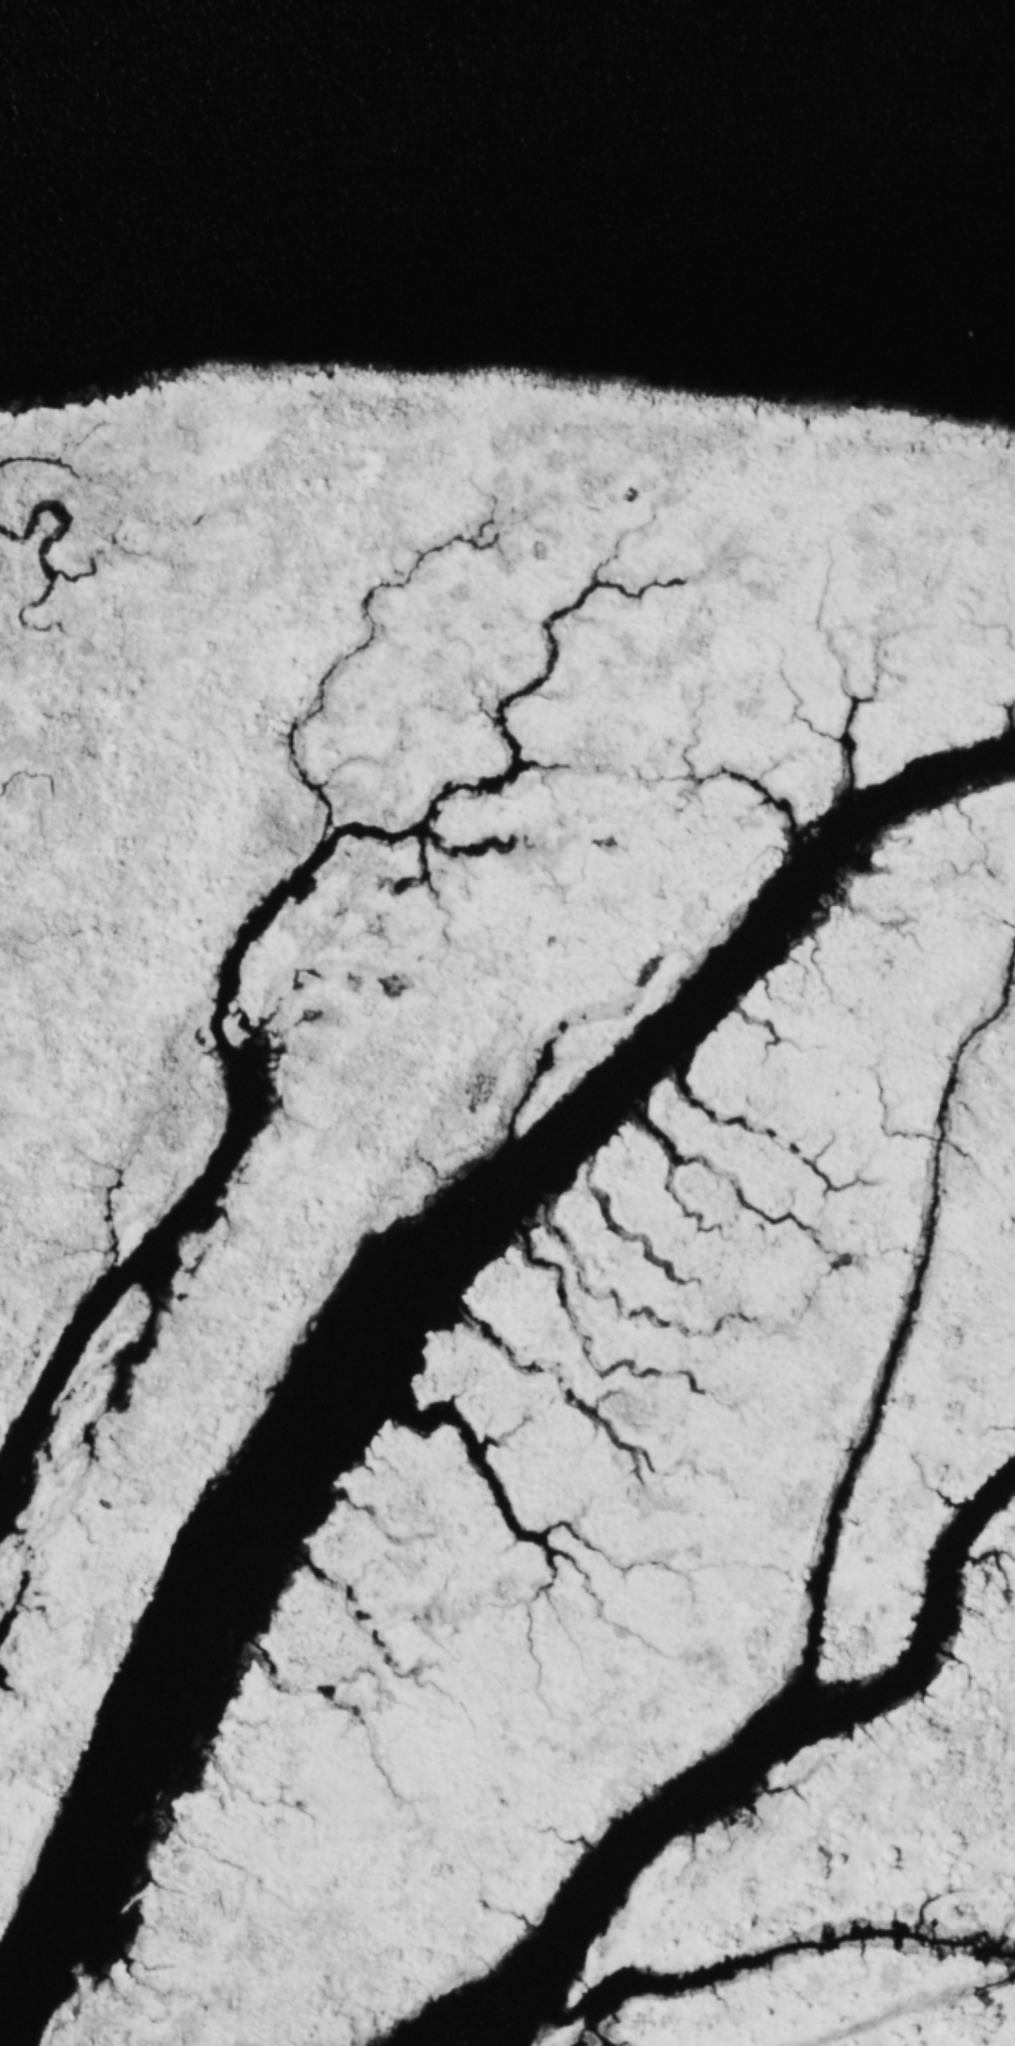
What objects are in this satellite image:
river: (643, 60)

